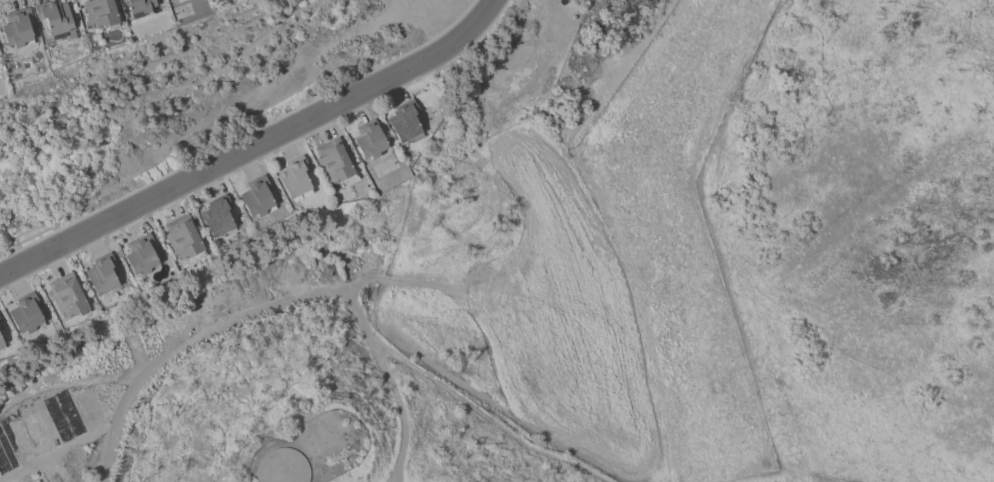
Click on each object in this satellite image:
building: (120, 0)
building: (122, 0)
building: (174, 0)
building: (178, 1)
building: (139, 6)
building: (100, 14)
building: (54, 17)
building: (17, 28)
building: (405, 122)
building: (369, 140)
road: (254, 148)
building: (334, 162)
building: (294, 178)
building: (256, 197)
building: (218, 216)
building: (183, 238)
building: (141, 255)
building: (101, 274)
road: (413, 278)
building: (67, 296)
building: (25, 314)
building: (1, 345)
road: (387, 382)
road: (480, 416)
building: (282, 466)

